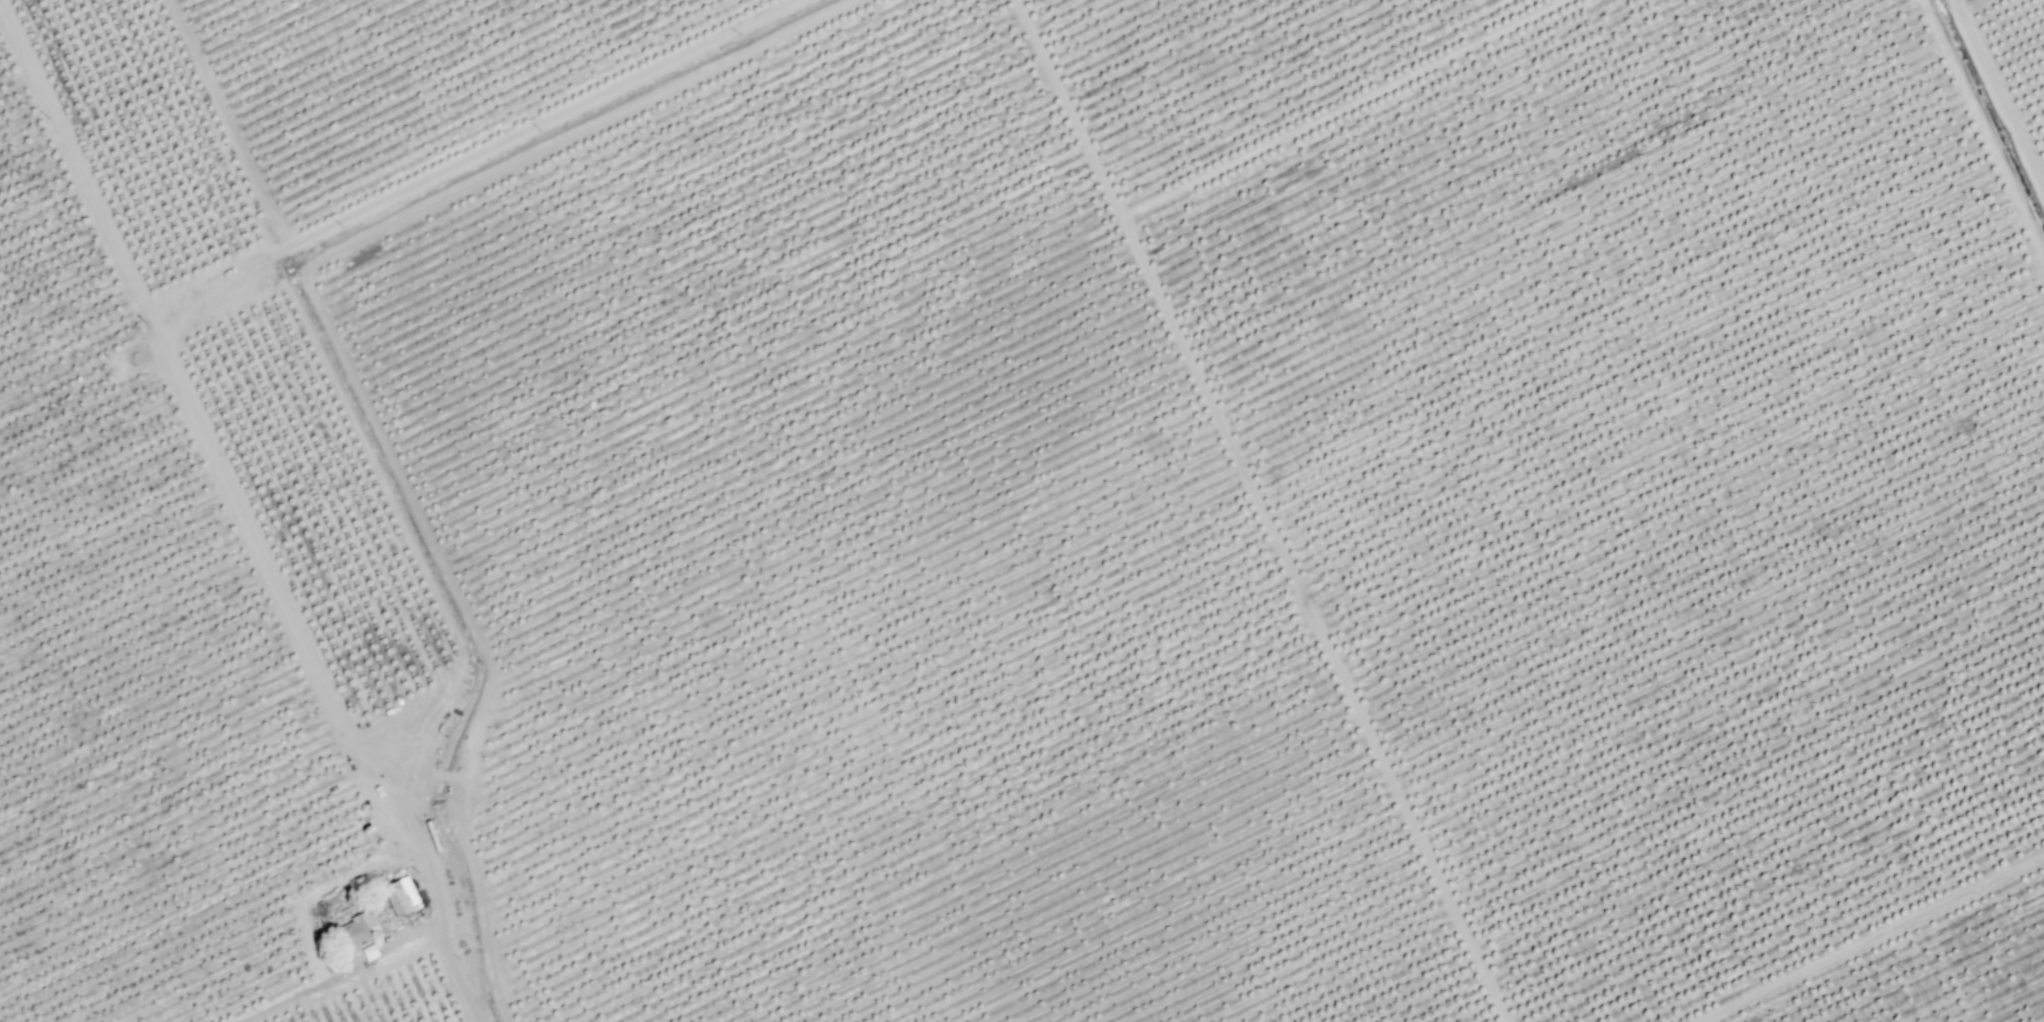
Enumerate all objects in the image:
road: (1977, 128)
road: (320, 234)
road: (1238, 514)
road: (406, 592)
building: (402, 887)
road: (392, 952)

